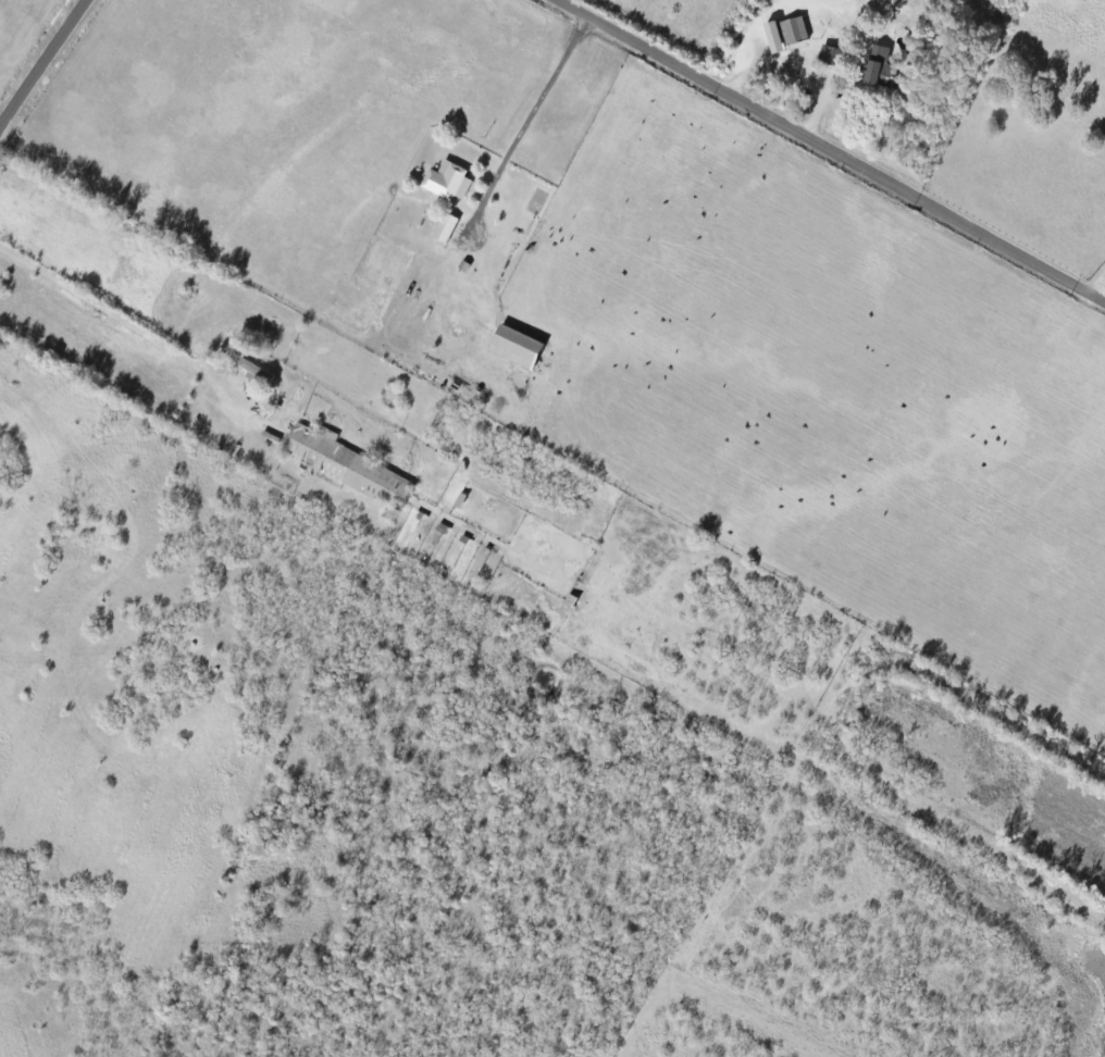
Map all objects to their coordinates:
building: (793, 29)
building: (773, 35)
building: (830, 53)
road: (44, 63)
road: (798, 63)
building: (880, 67)
road: (536, 119)
road: (827, 148)
building: (447, 181)
building: (445, 227)
road: (1098, 285)
building: (514, 346)
building: (250, 369)
building: (344, 462)
road: (117, 598)

